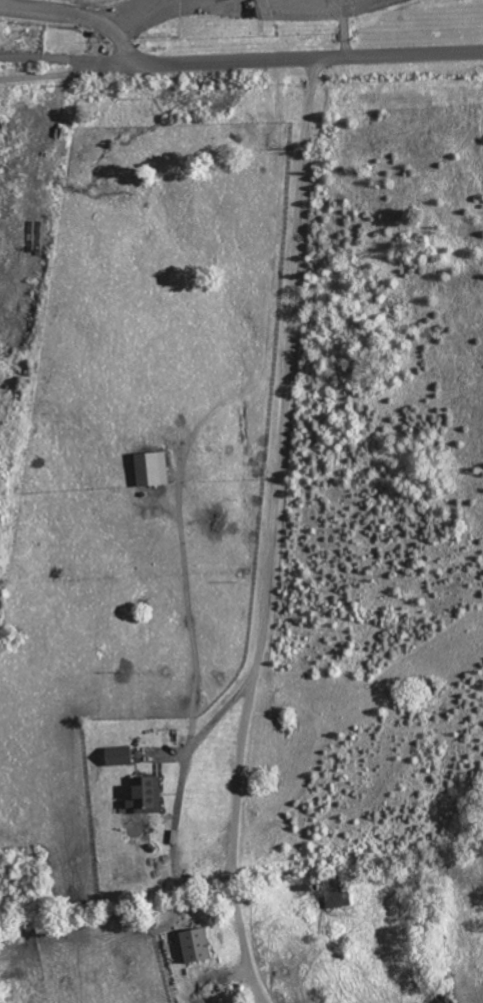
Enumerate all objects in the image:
road: (333, 2)
road: (354, 4)
road: (75, 13)
road: (241, 56)
road: (65, 74)
building: (151, 468)
road: (273, 529)
building: (118, 755)
building: (146, 795)
building: (194, 943)

